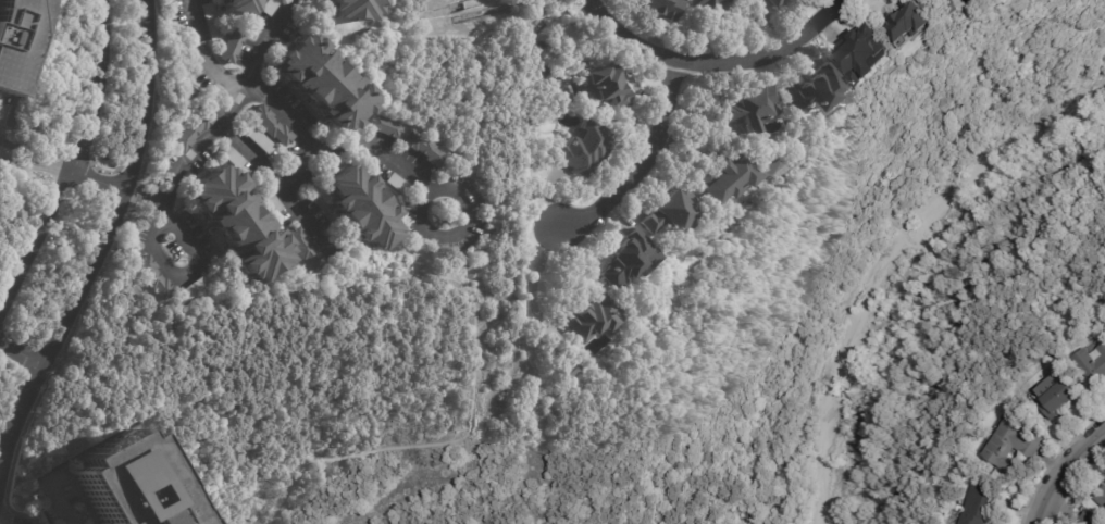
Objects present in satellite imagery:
building: (949, 0)
building: (956, 0)
building: (793, 1)
building: (308, 2)
building: (779, 2)
building: (238, 7)
building: (271, 7)
building: (712, 7)
building: (967, 7)
building: (353, 9)
building: (663, 9)
building: (920, 21)
building: (211, 22)
building: (17, 41)
building: (232, 47)
building: (866, 54)
road: (719, 60)
building: (325, 83)
road: (238, 84)
building: (610, 87)
building: (814, 89)
building: (749, 109)
building: (272, 126)
building: (386, 127)
building: (193, 130)
building: (258, 139)
building: (425, 149)
building: (588, 151)
road: (37, 155)
building: (233, 158)
road: (643, 162)
road: (75, 166)
building: (315, 177)
building: (725, 178)
road: (102, 182)
building: (400, 185)
road: (285, 186)
road: (439, 187)
road: (1010, 195)
road: (146, 197)
building: (272, 202)
building: (361, 209)
building: (672, 213)
road: (306, 222)
building: (239, 224)
road: (182, 235)
road: (104, 246)
road: (861, 248)
building: (306, 249)
building: (631, 260)
building: (154, 278)
road: (419, 278)
building: (197, 287)
park: (649, 313)
building: (591, 320)
road: (23, 348)
building: (1093, 364)
building: (573, 375)
road: (885, 383)
building: (1060, 398)
road: (456, 440)
building: (1013, 446)
road: (1065, 473)
building: (114, 482)
building: (60, 499)
parking lot: (60, 499)
building: (1103, 500)
building: (980, 504)
road: (12, 517)
building: (1092, 519)
park: (9, 521)

